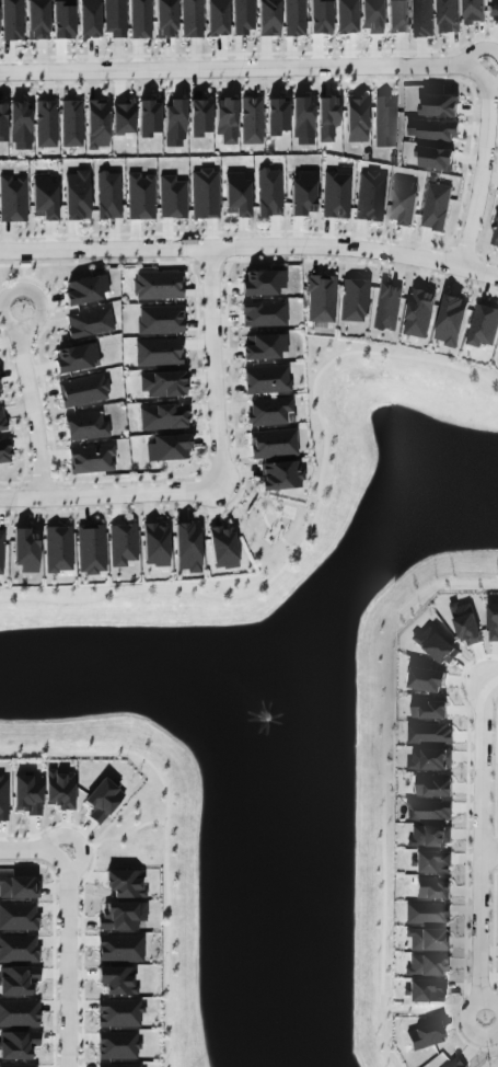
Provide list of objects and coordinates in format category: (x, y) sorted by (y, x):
building: (473, 10)
building: (495, 12)
building: (370, 15)
building: (396, 15)
building: (448, 15)
building: (242, 16)
building: (319, 16)
building: (345, 16)
building: (114, 18)
building: (216, 18)
building: (268, 18)
building: (293, 18)
building: (421, 18)
building: (62, 19)
building: (88, 19)
building: (139, 19)
building: (165, 19)
building: (190, 19)
building: (11, 20)
building: (36, 20)
road: (345, 66)
building: (439, 105)
building: (121, 116)
building: (276, 116)
building: (199, 117)
building: (148, 118)
building: (326, 118)
building: (356, 118)
building: (225, 121)
building: (251, 121)
building: (301, 121)
building: (2, 122)
building: (384, 122)
building: (174, 123)
building: (45, 124)
building: (70, 124)
building: (96, 124)
building: (19, 125)
building: (431, 128)
building: (435, 157)
building: (268, 192)
building: (302, 193)
building: (204, 194)
building: (76, 195)
building: (107, 195)
building: (236, 195)
building: (335, 195)
building: (369, 196)
building: (43, 197)
building: (140, 197)
building: (172, 197)
building: (12, 198)
building: (402, 200)
building: (435, 206)
building: (495, 234)
road: (251, 244)
building: (262, 283)
building: (158, 285)
building: (84, 290)
building: (320, 298)
building: (352, 300)
building: (385, 307)
building: (418, 312)
building: (263, 314)
building: (160, 320)
building: (450, 320)
building: (89, 323)
building: (482, 325)
building: (263, 346)
building: (158, 352)
building: (74, 357)
building: (266, 379)
building: (162, 383)
building: (83, 390)
road: (31, 402)
building: (268, 411)
building: (162, 416)
building: (1, 421)
building: (85, 426)
building: (271, 443)
building: (167, 448)
building: (3, 451)
building: (91, 458)
building: (280, 475)
road: (222, 479)
road: (262, 515)
road: (311, 524)
building: (121, 544)
building: (154, 544)
building: (186, 547)
building: (221, 547)
building: (0, 549)
building: (57, 549)
building: (90, 549)
building: (25, 550)
building: (493, 621)
building: (465, 623)
building: (436, 645)
building: (426, 679)
road: (491, 682)
building: (428, 708)
building: (429, 732)
building: (430, 758)
road: (381, 783)
building: (433, 784)
building: (59, 790)
building: (26, 794)
building: (2, 798)
building: (101, 800)
building: (428, 810)
road: (164, 836)
building: (429, 836)
road: (123, 837)
road: (76, 839)
road: (480, 851)
building: (431, 862)
road: (489, 862)
building: (125, 883)
building: (18, 887)
building: (432, 888)
building: (426, 913)
building: (18, 916)
building: (117, 916)
road: (68, 931)
building: (428, 939)
building: (119, 948)
building: (18, 949)
building: (427, 965)
building: (116, 979)
building: (18, 980)
building: (425, 990)
road: (430, 1007)
building: (19, 1013)
building: (118, 1013)
road: (489, 1026)
building: (422, 1035)
building: (16, 1045)
building: (117, 1045)
building: (454, 1063)
building: (18, 1065)
building: (119, 1065)
road: (496, 1065)

